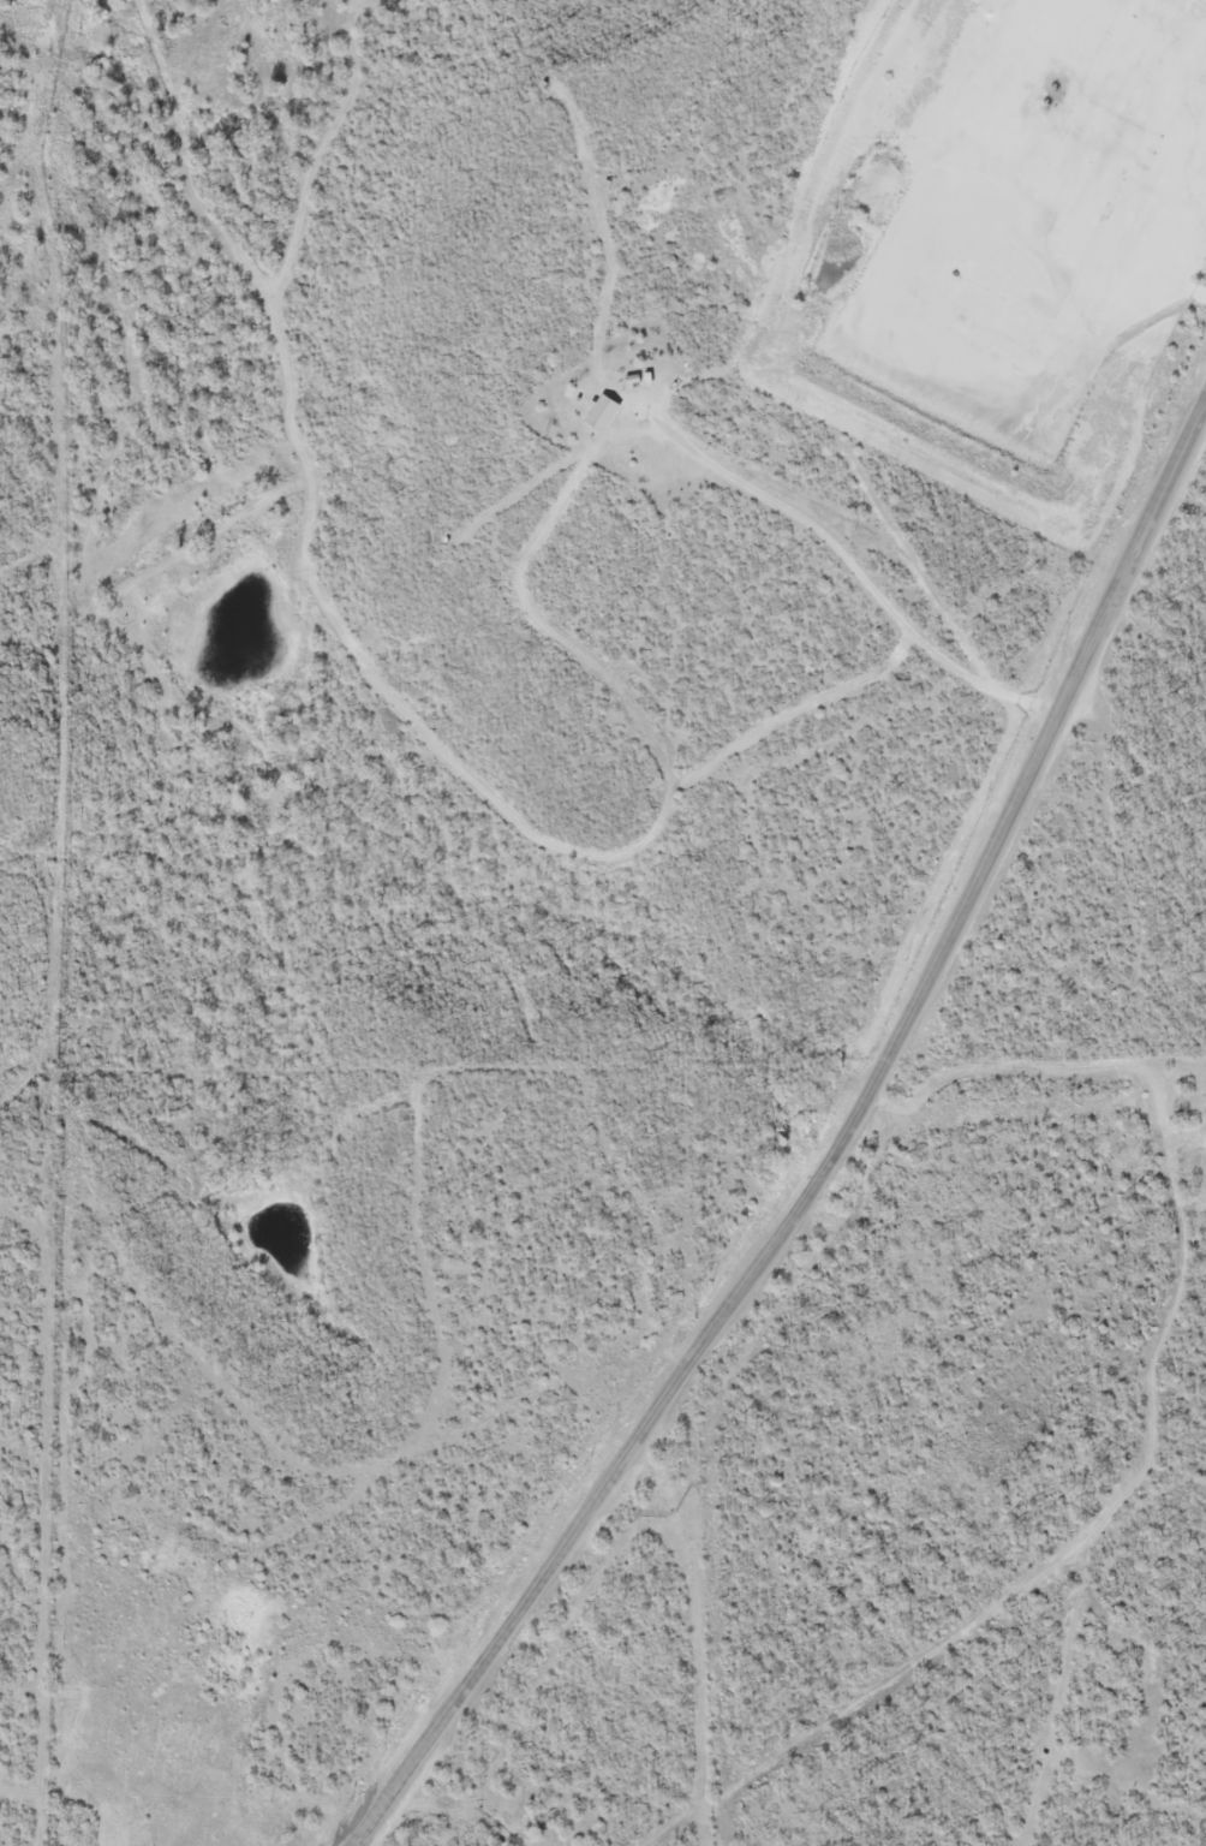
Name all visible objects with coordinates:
building: (597, 415)
road: (834, 1163)

